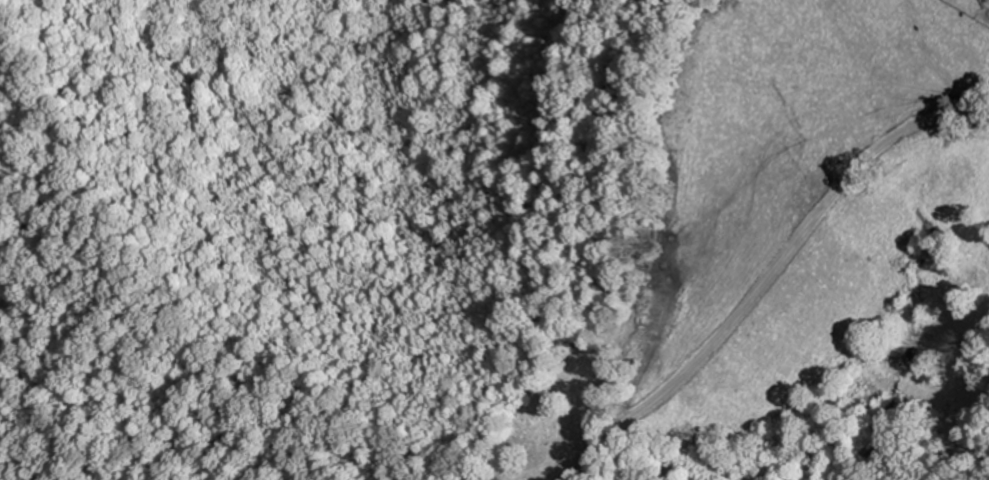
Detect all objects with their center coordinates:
road: (773, 271)

